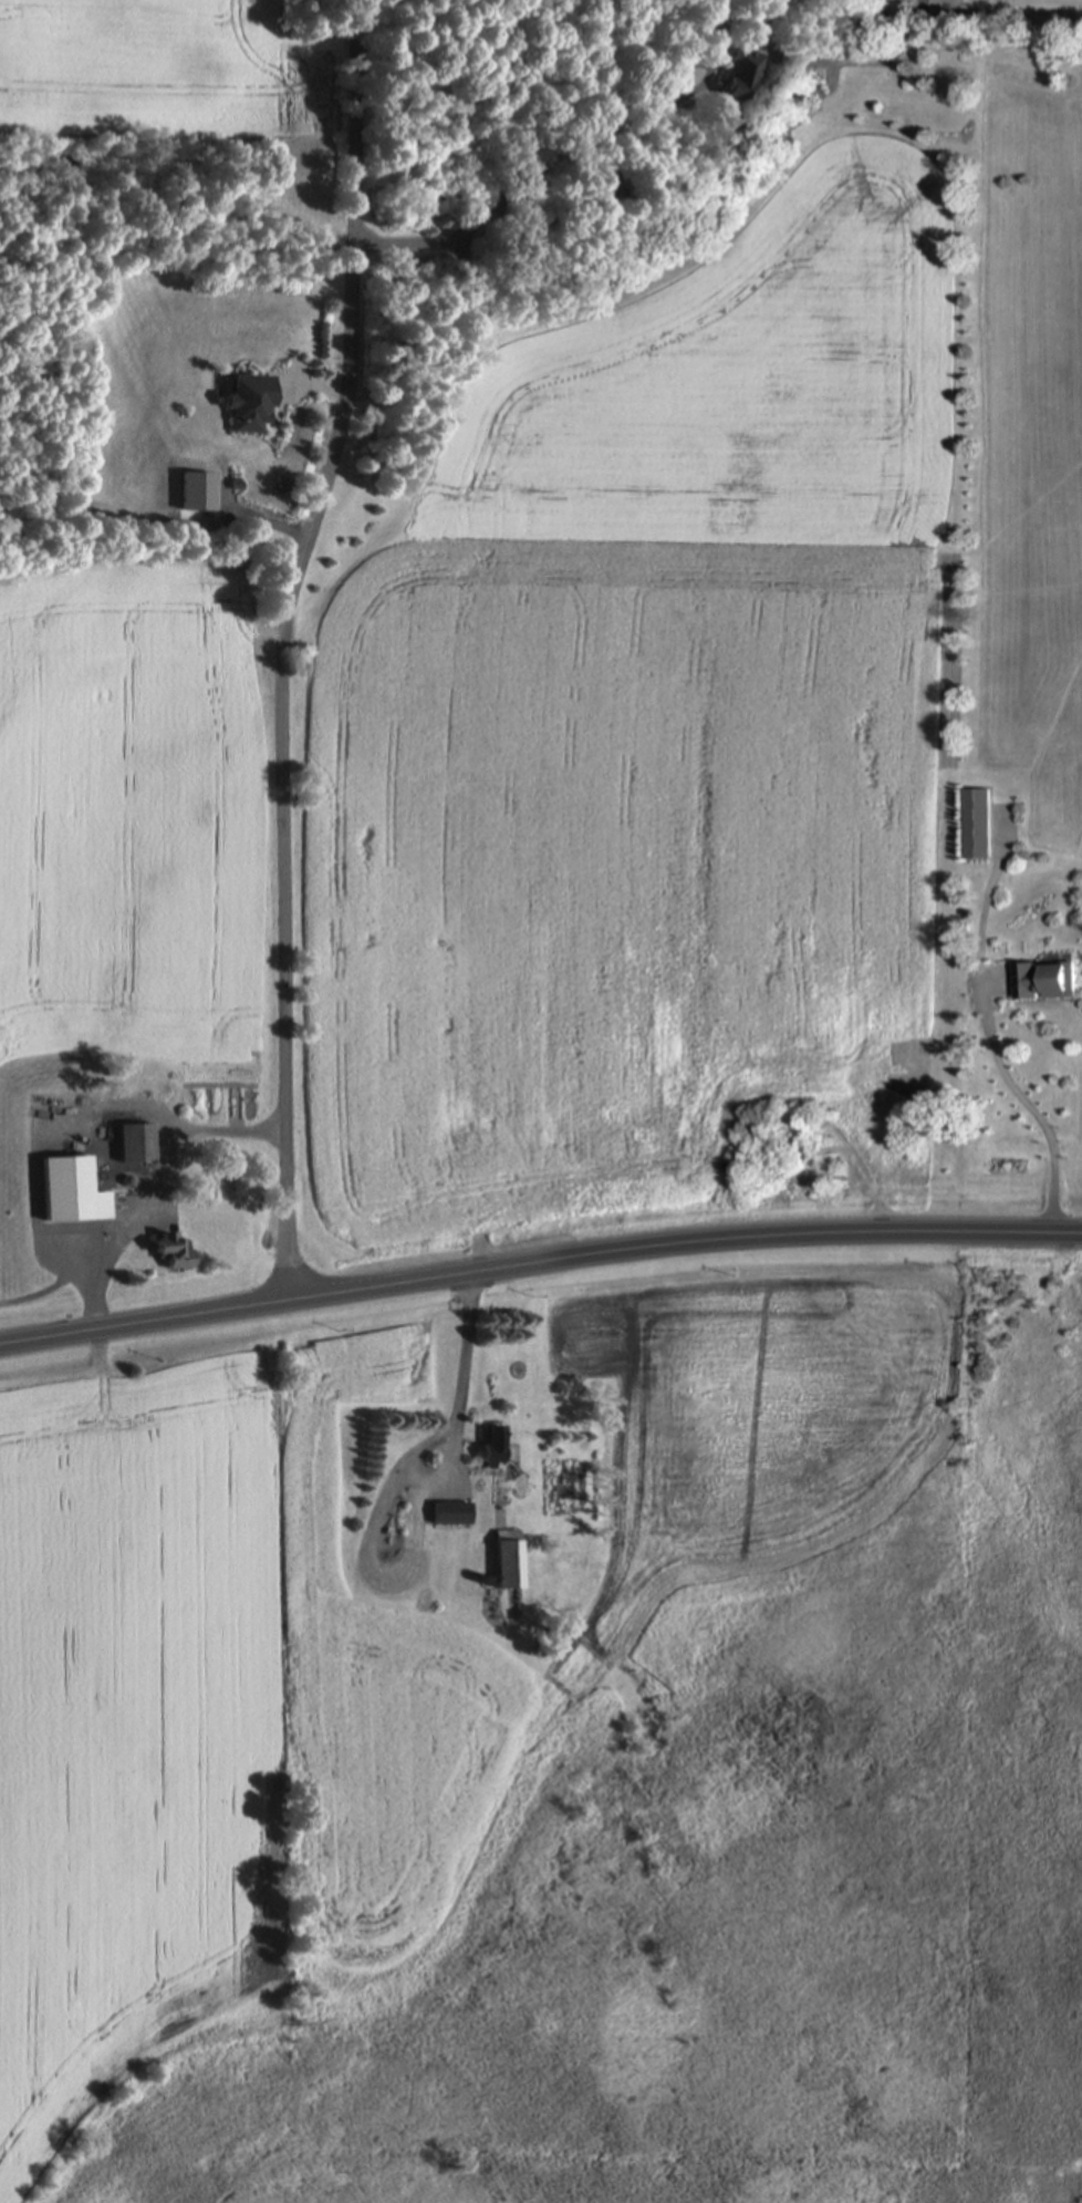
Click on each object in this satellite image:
building: (743, 89)
road: (530, 179)
building: (613, 194)
building: (252, 406)
road: (285, 644)
building: (978, 829)
building: (1047, 986)
road: (1023, 1107)
building: (136, 1147)
road: (154, 1187)
building: (75, 1253)
building: (174, 1254)
road: (539, 1266)
road: (464, 1355)
building: (493, 1447)
building: (452, 1517)
building: (509, 1563)

